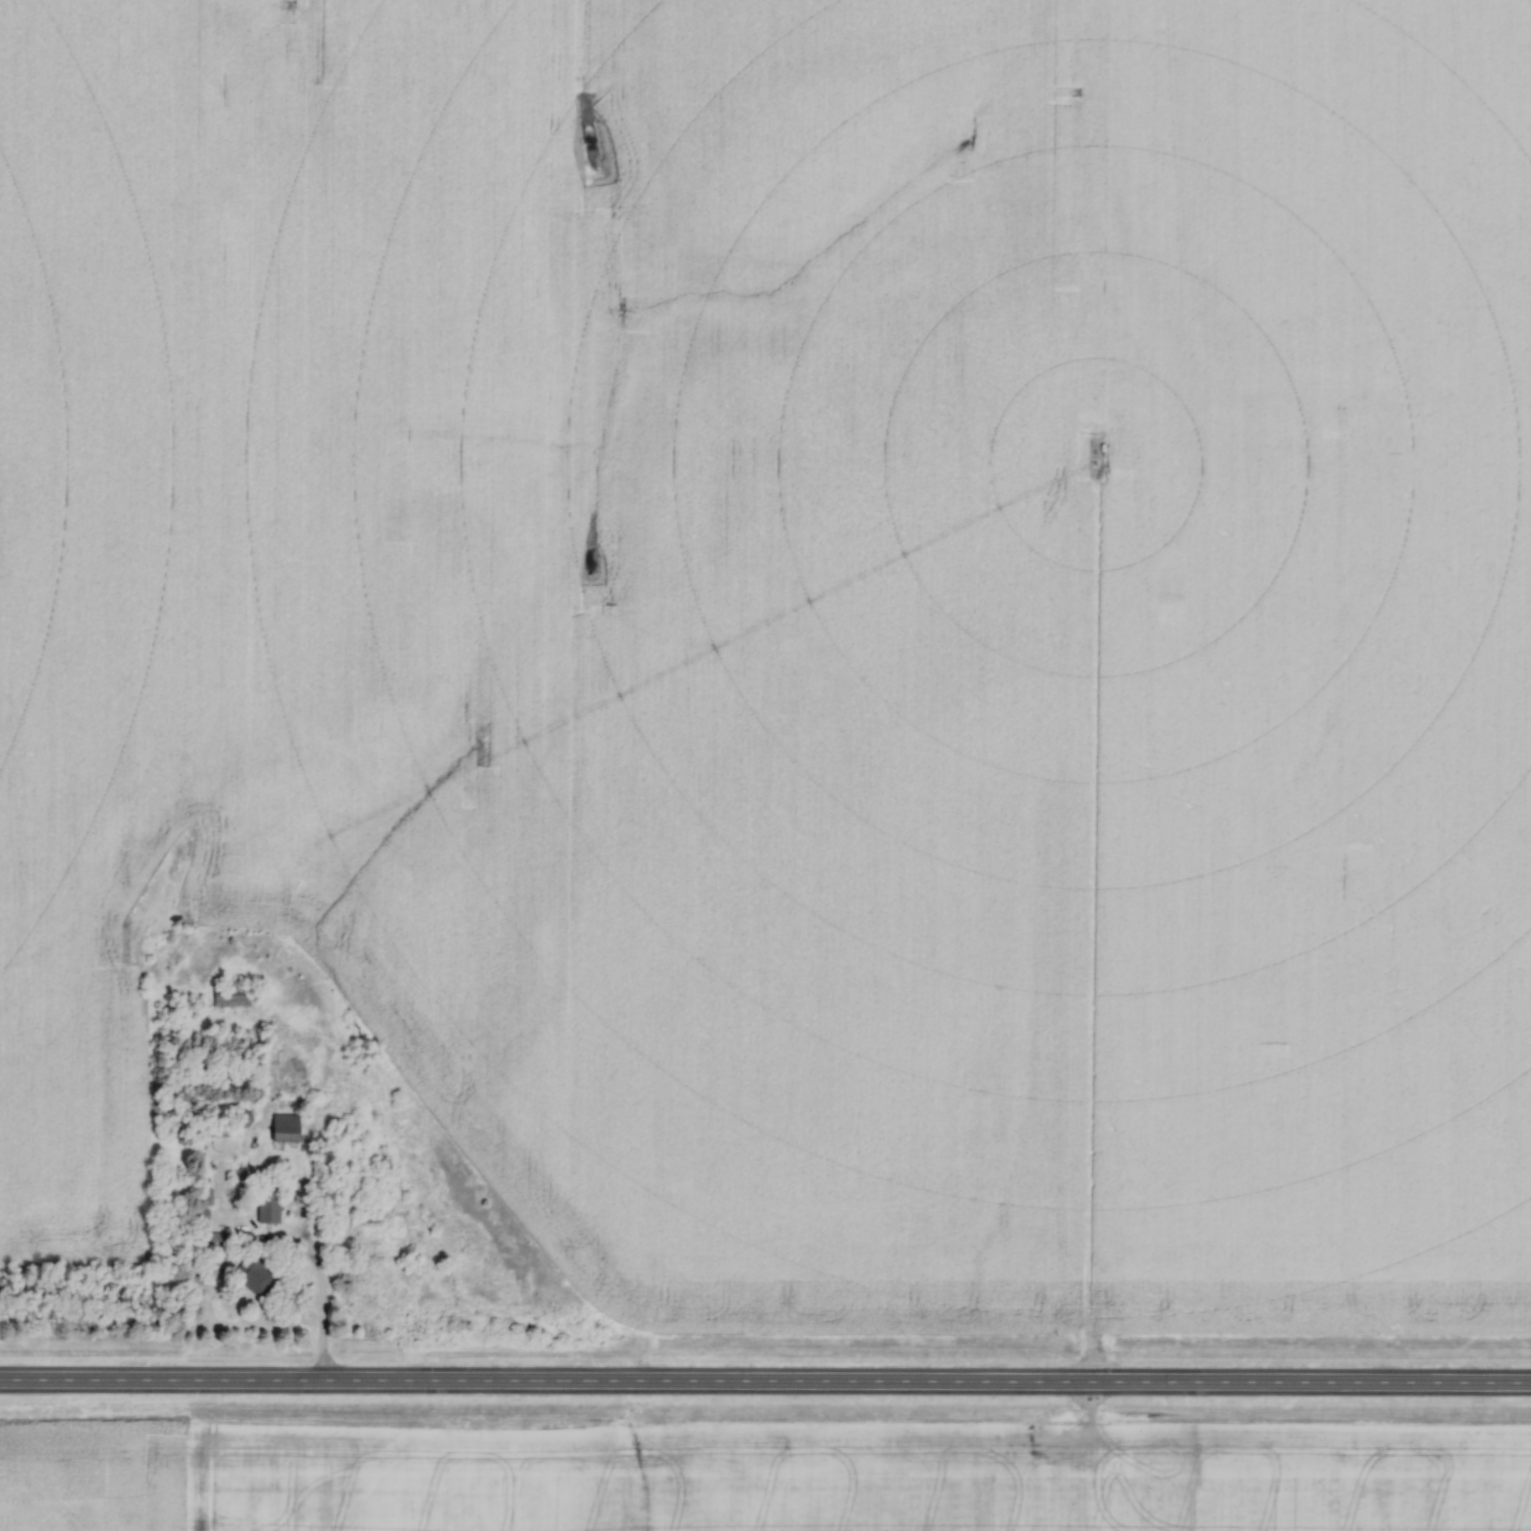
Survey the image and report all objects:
building: (236, 995)
building: (272, 1207)
building: (256, 1276)
road: (323, 1297)
road: (765, 1386)

